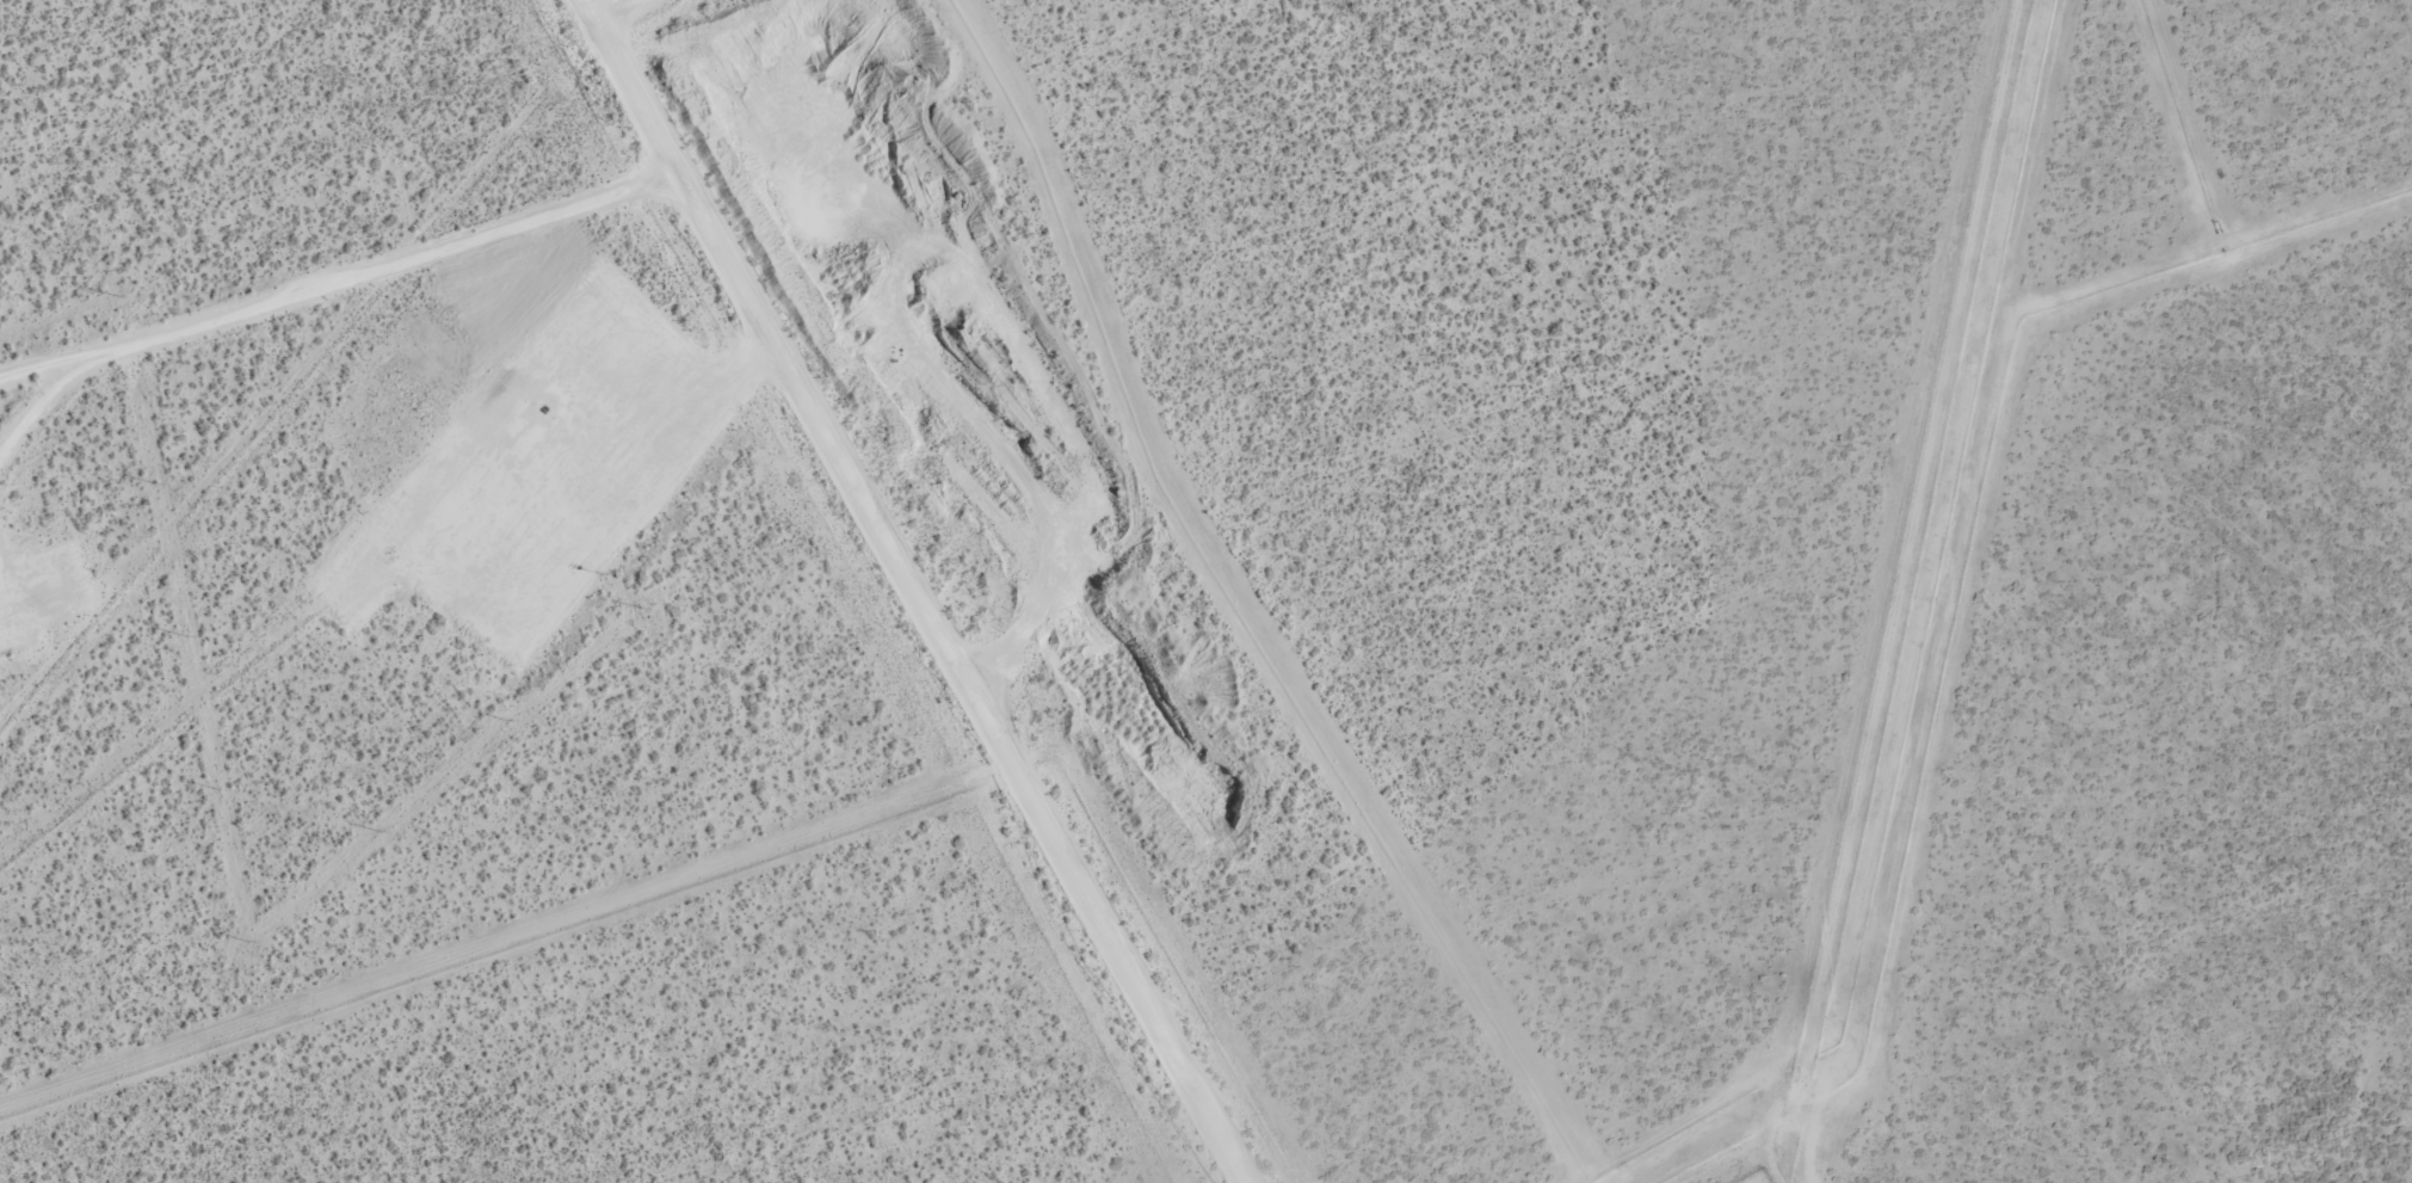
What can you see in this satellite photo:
road: (613, 18)
road: (331, 281)
road: (742, 366)
road: (38, 399)
road: (849, 515)
road: (1190, 1108)

